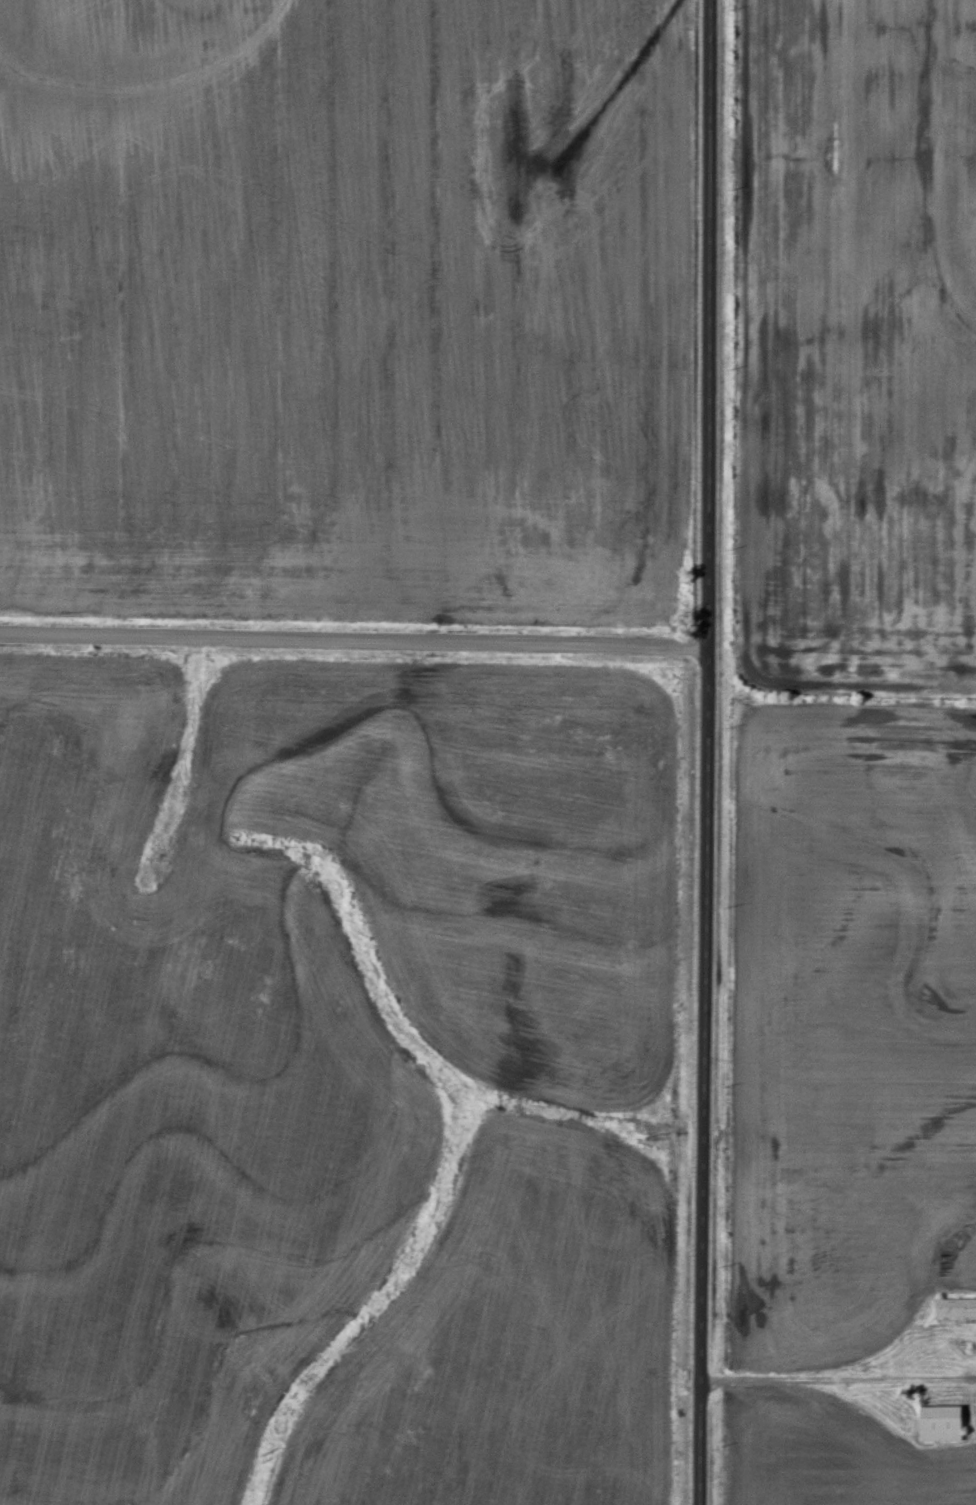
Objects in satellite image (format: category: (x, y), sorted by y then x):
road: (700, 332)
road: (349, 640)
road: (696, 1085)
building: (954, 1309)
road: (835, 1372)
building: (939, 1424)

